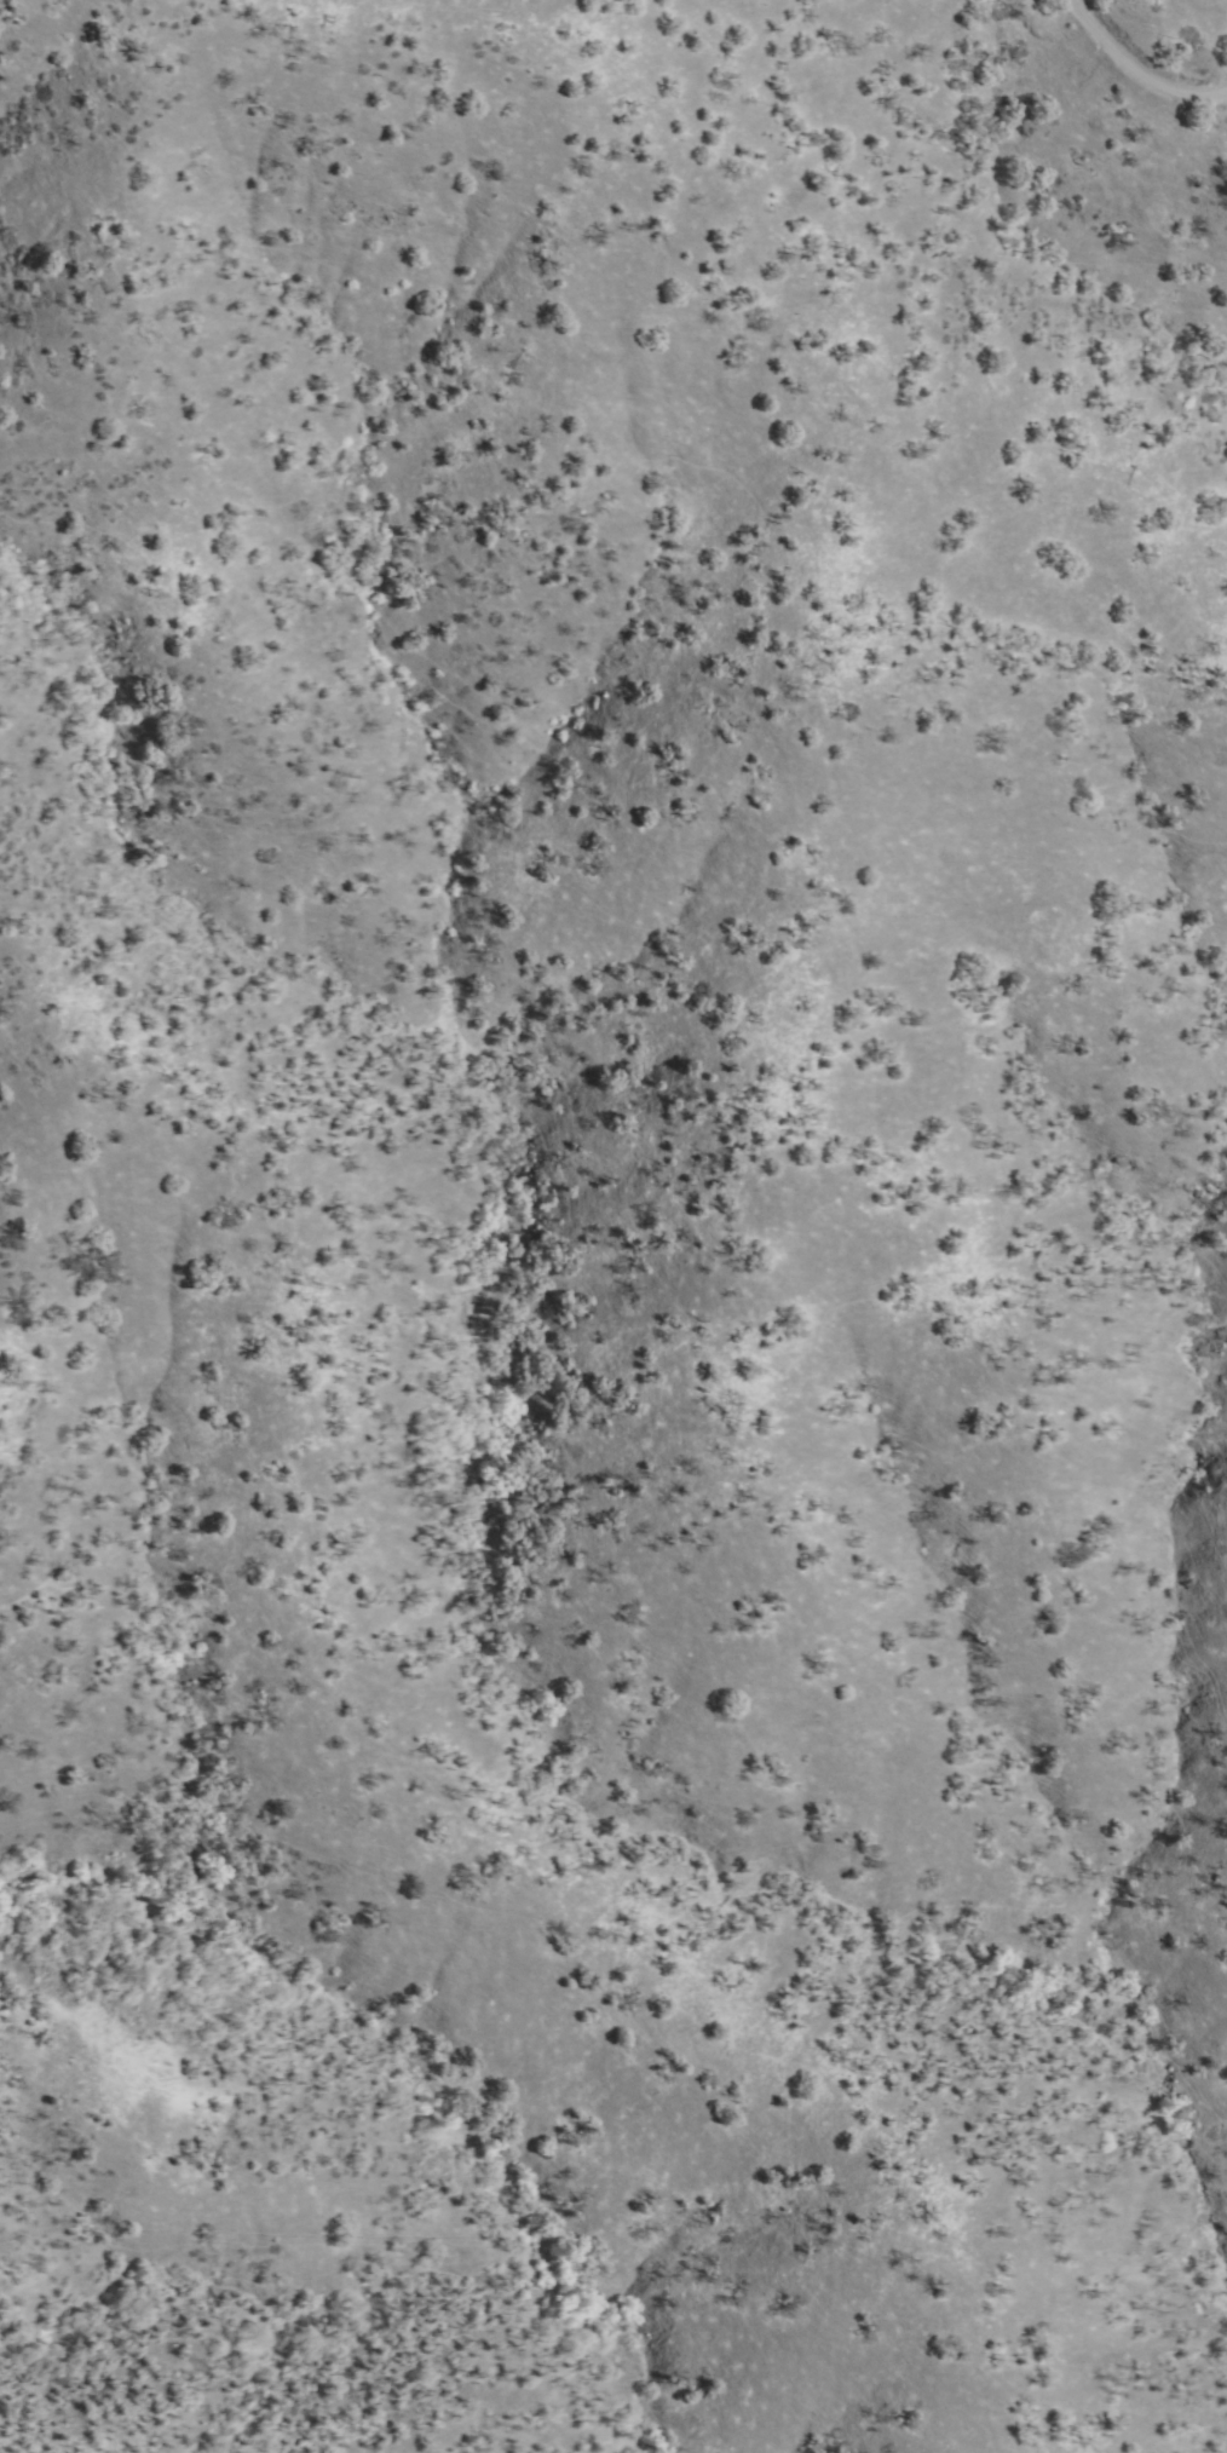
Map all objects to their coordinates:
road: (1137, 69)

